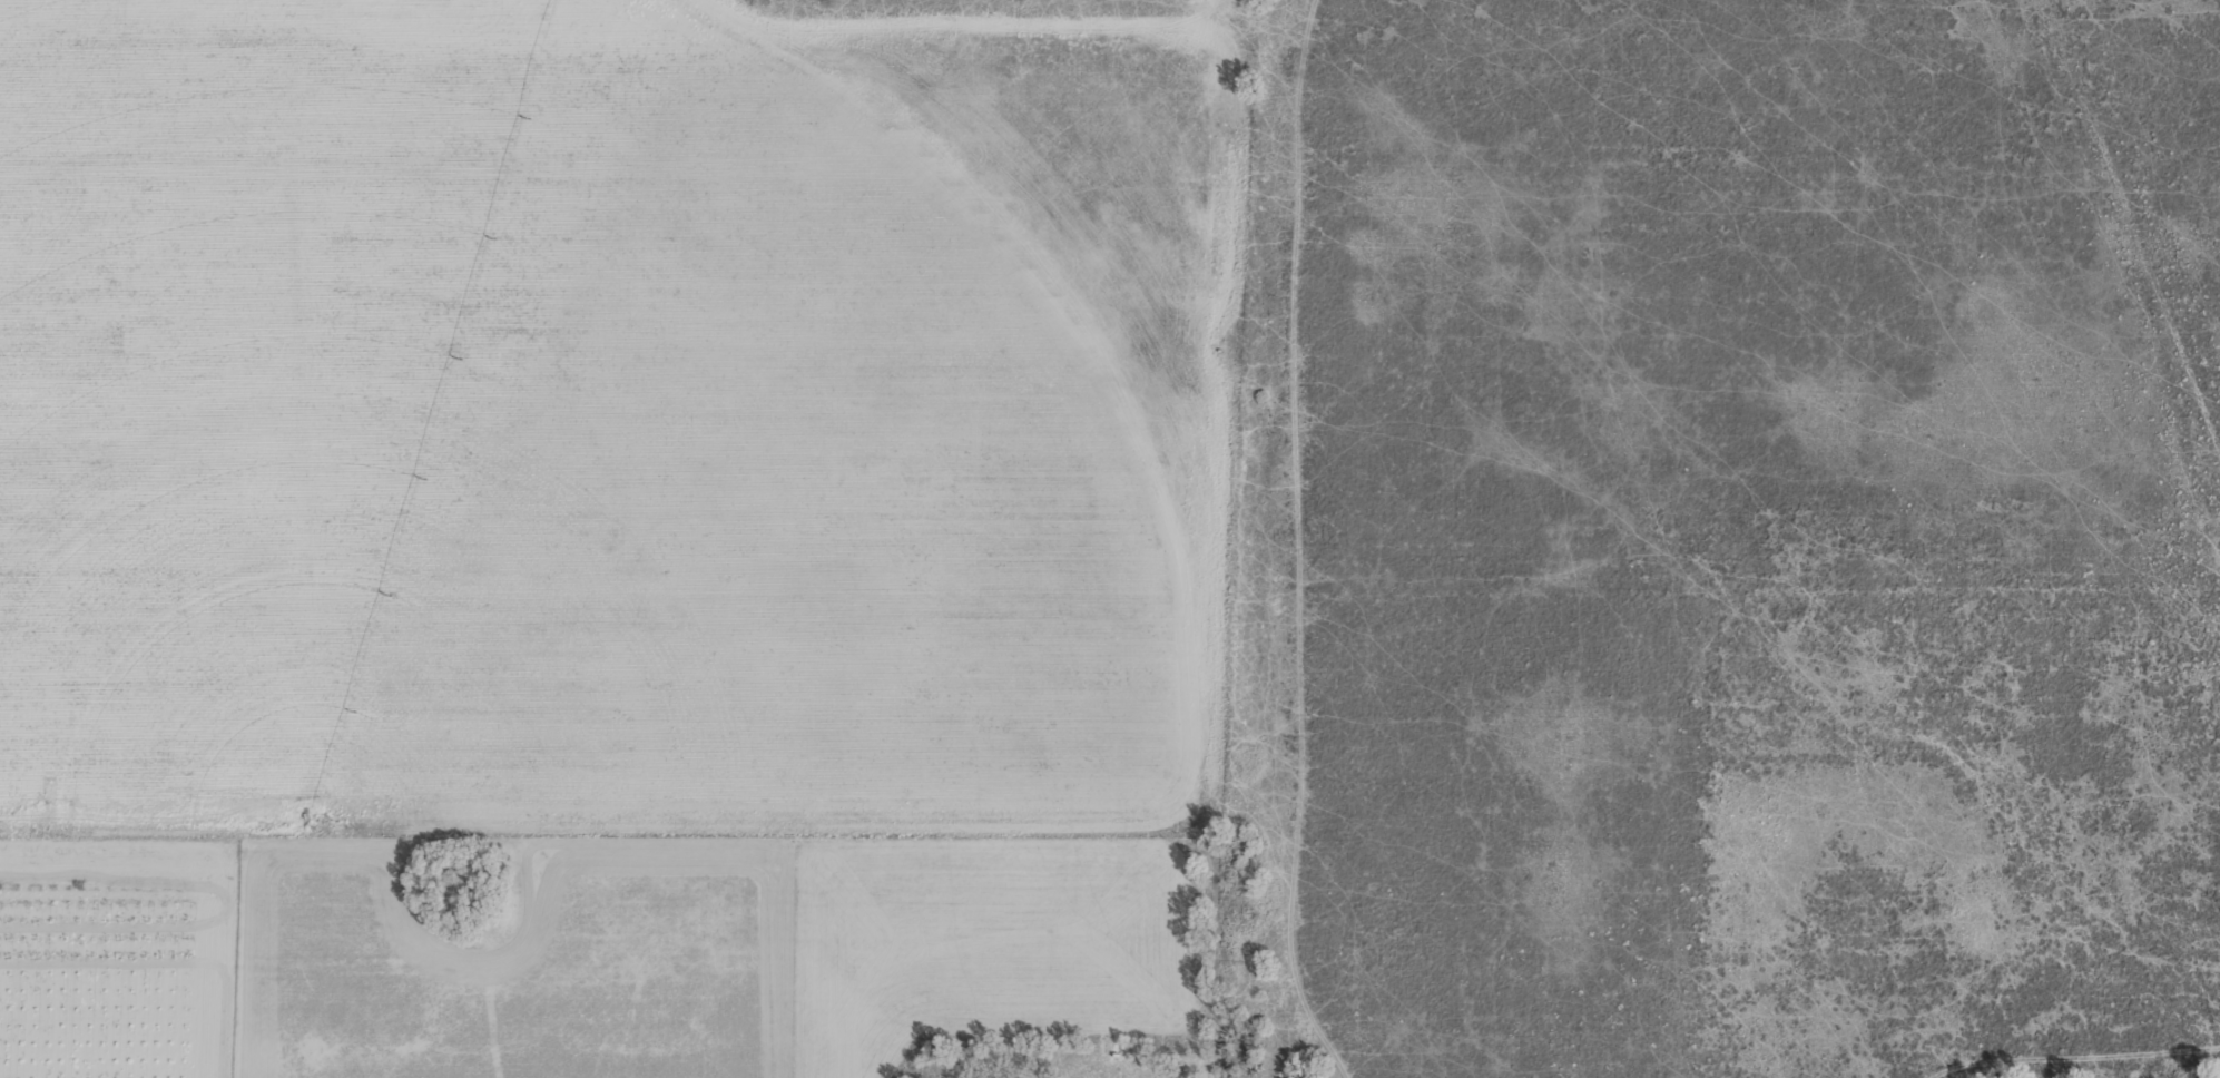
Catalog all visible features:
railway: (2074, 315)
crop: (1110, 539)

